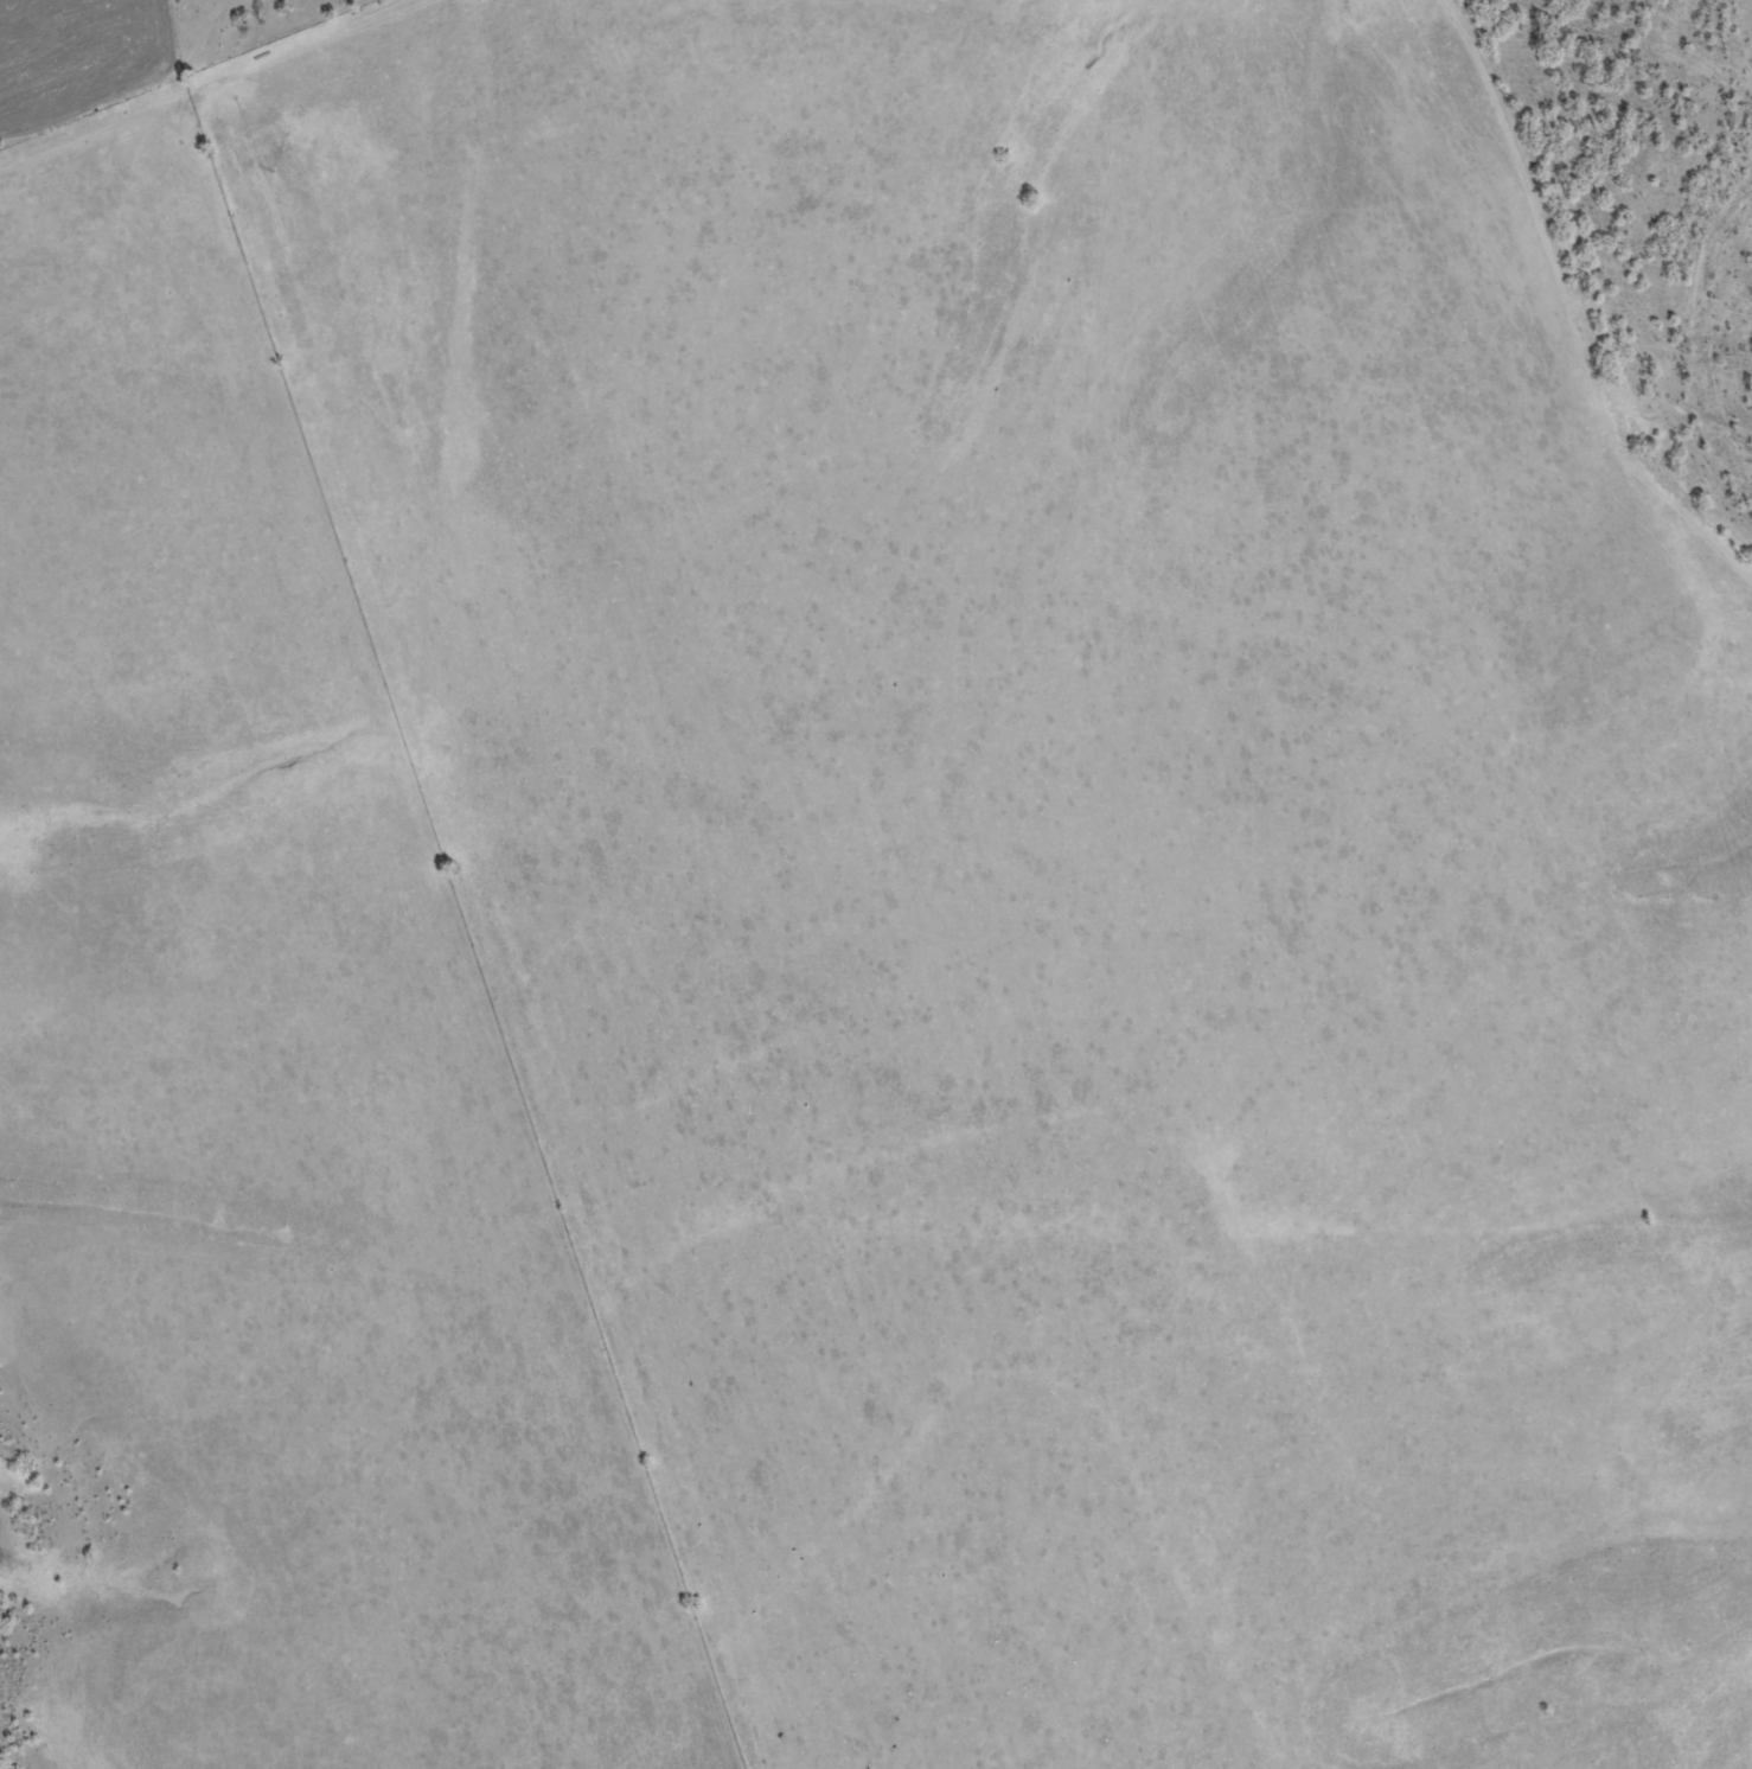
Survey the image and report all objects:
road: (187, 78)
road: (1572, 307)

